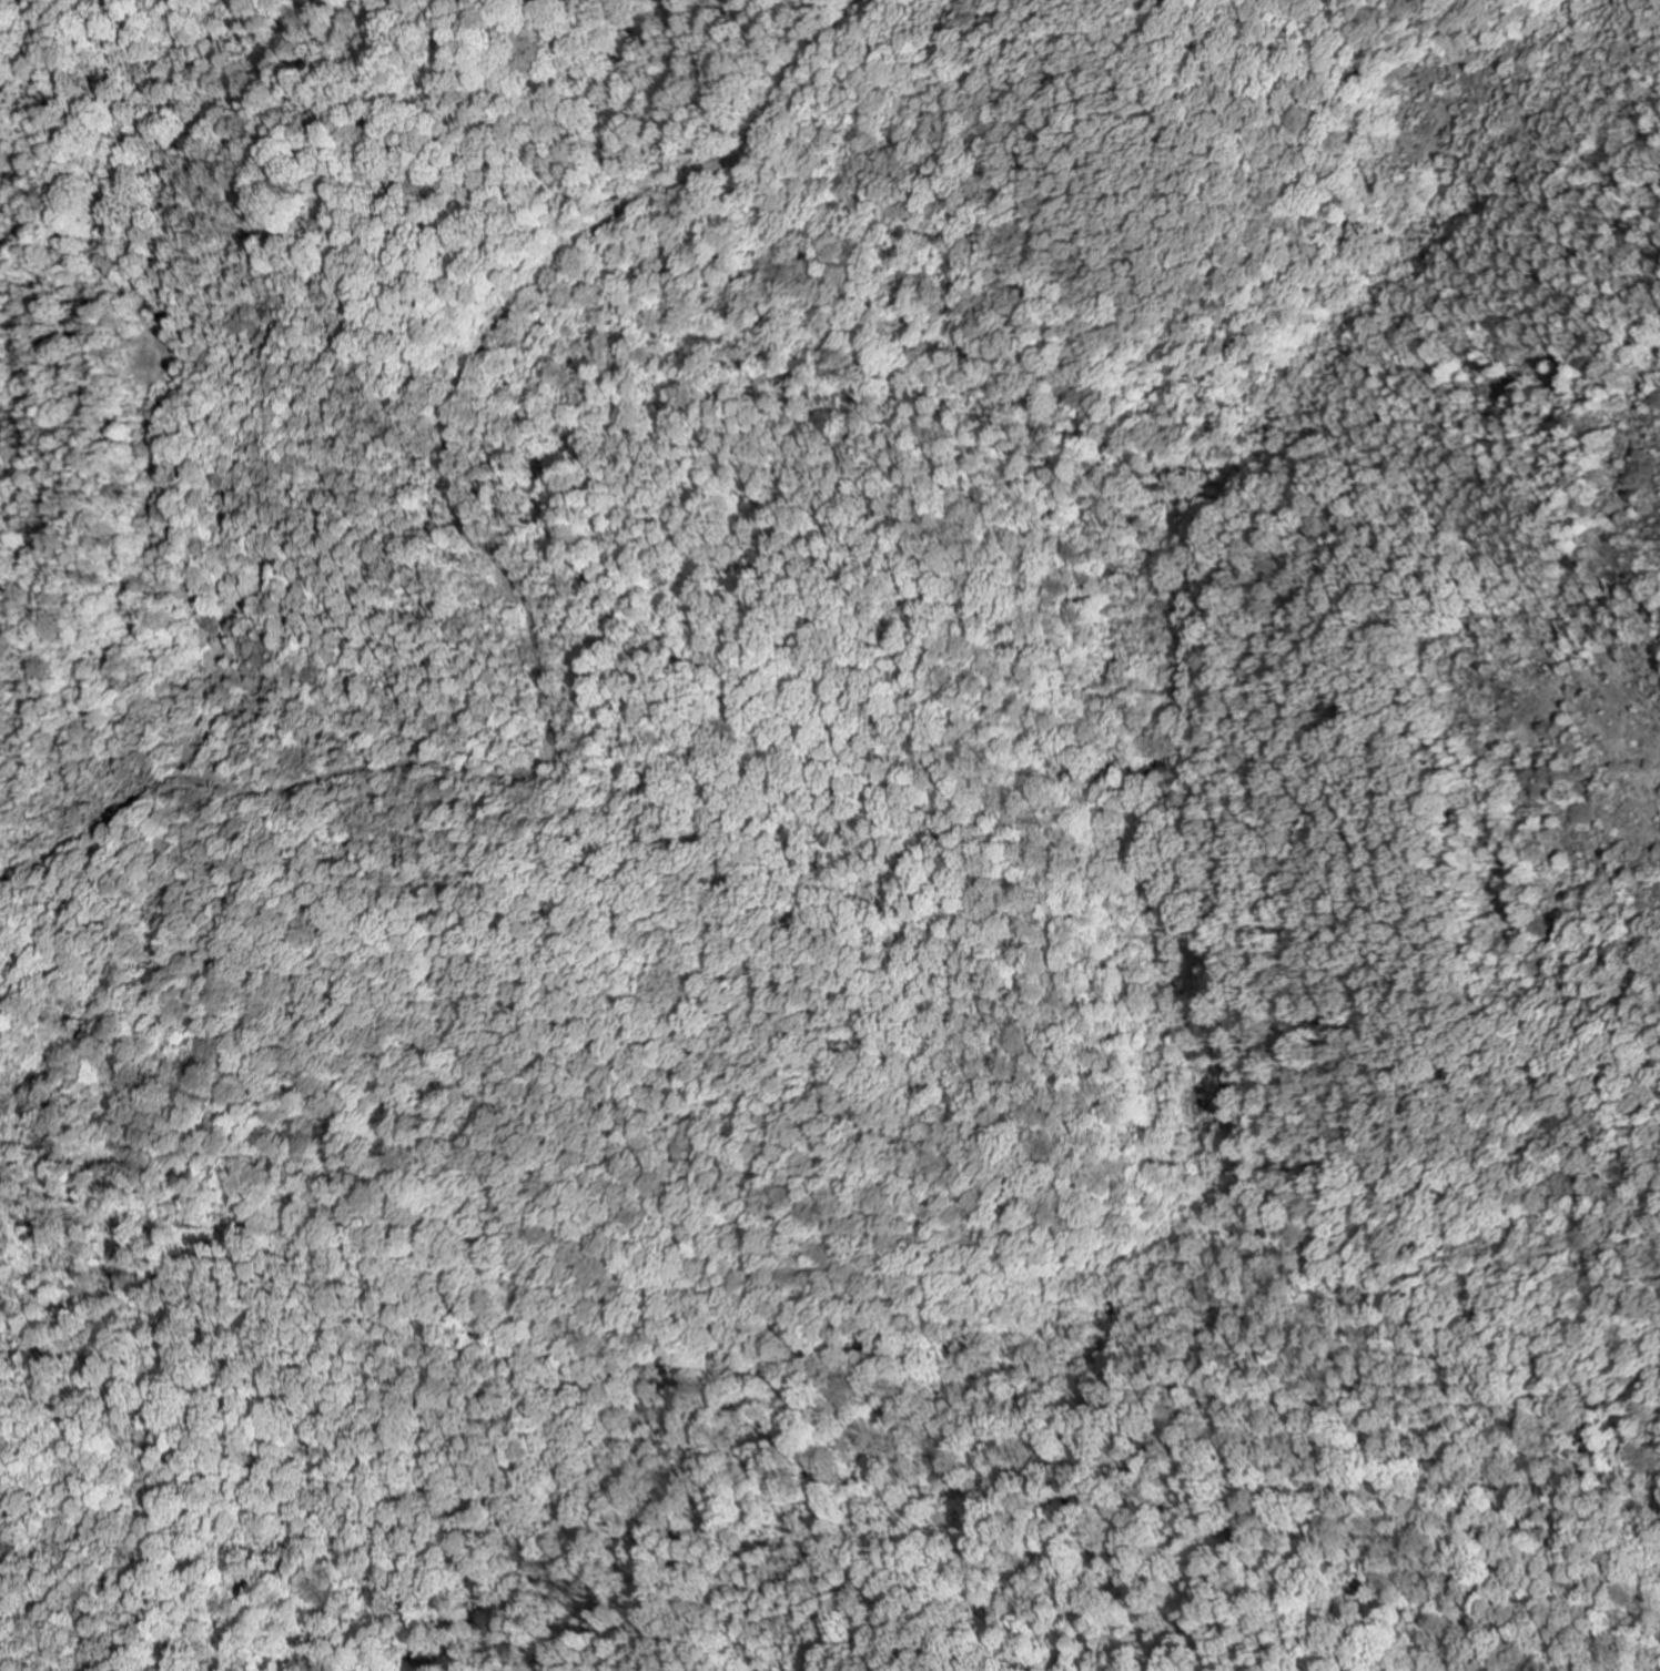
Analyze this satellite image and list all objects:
road: (505, 583)

